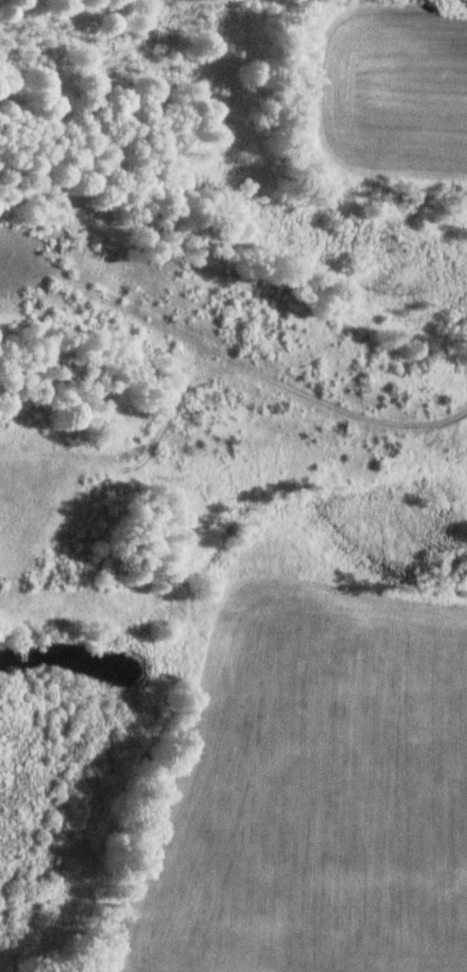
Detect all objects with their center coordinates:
road: (237, 473)

